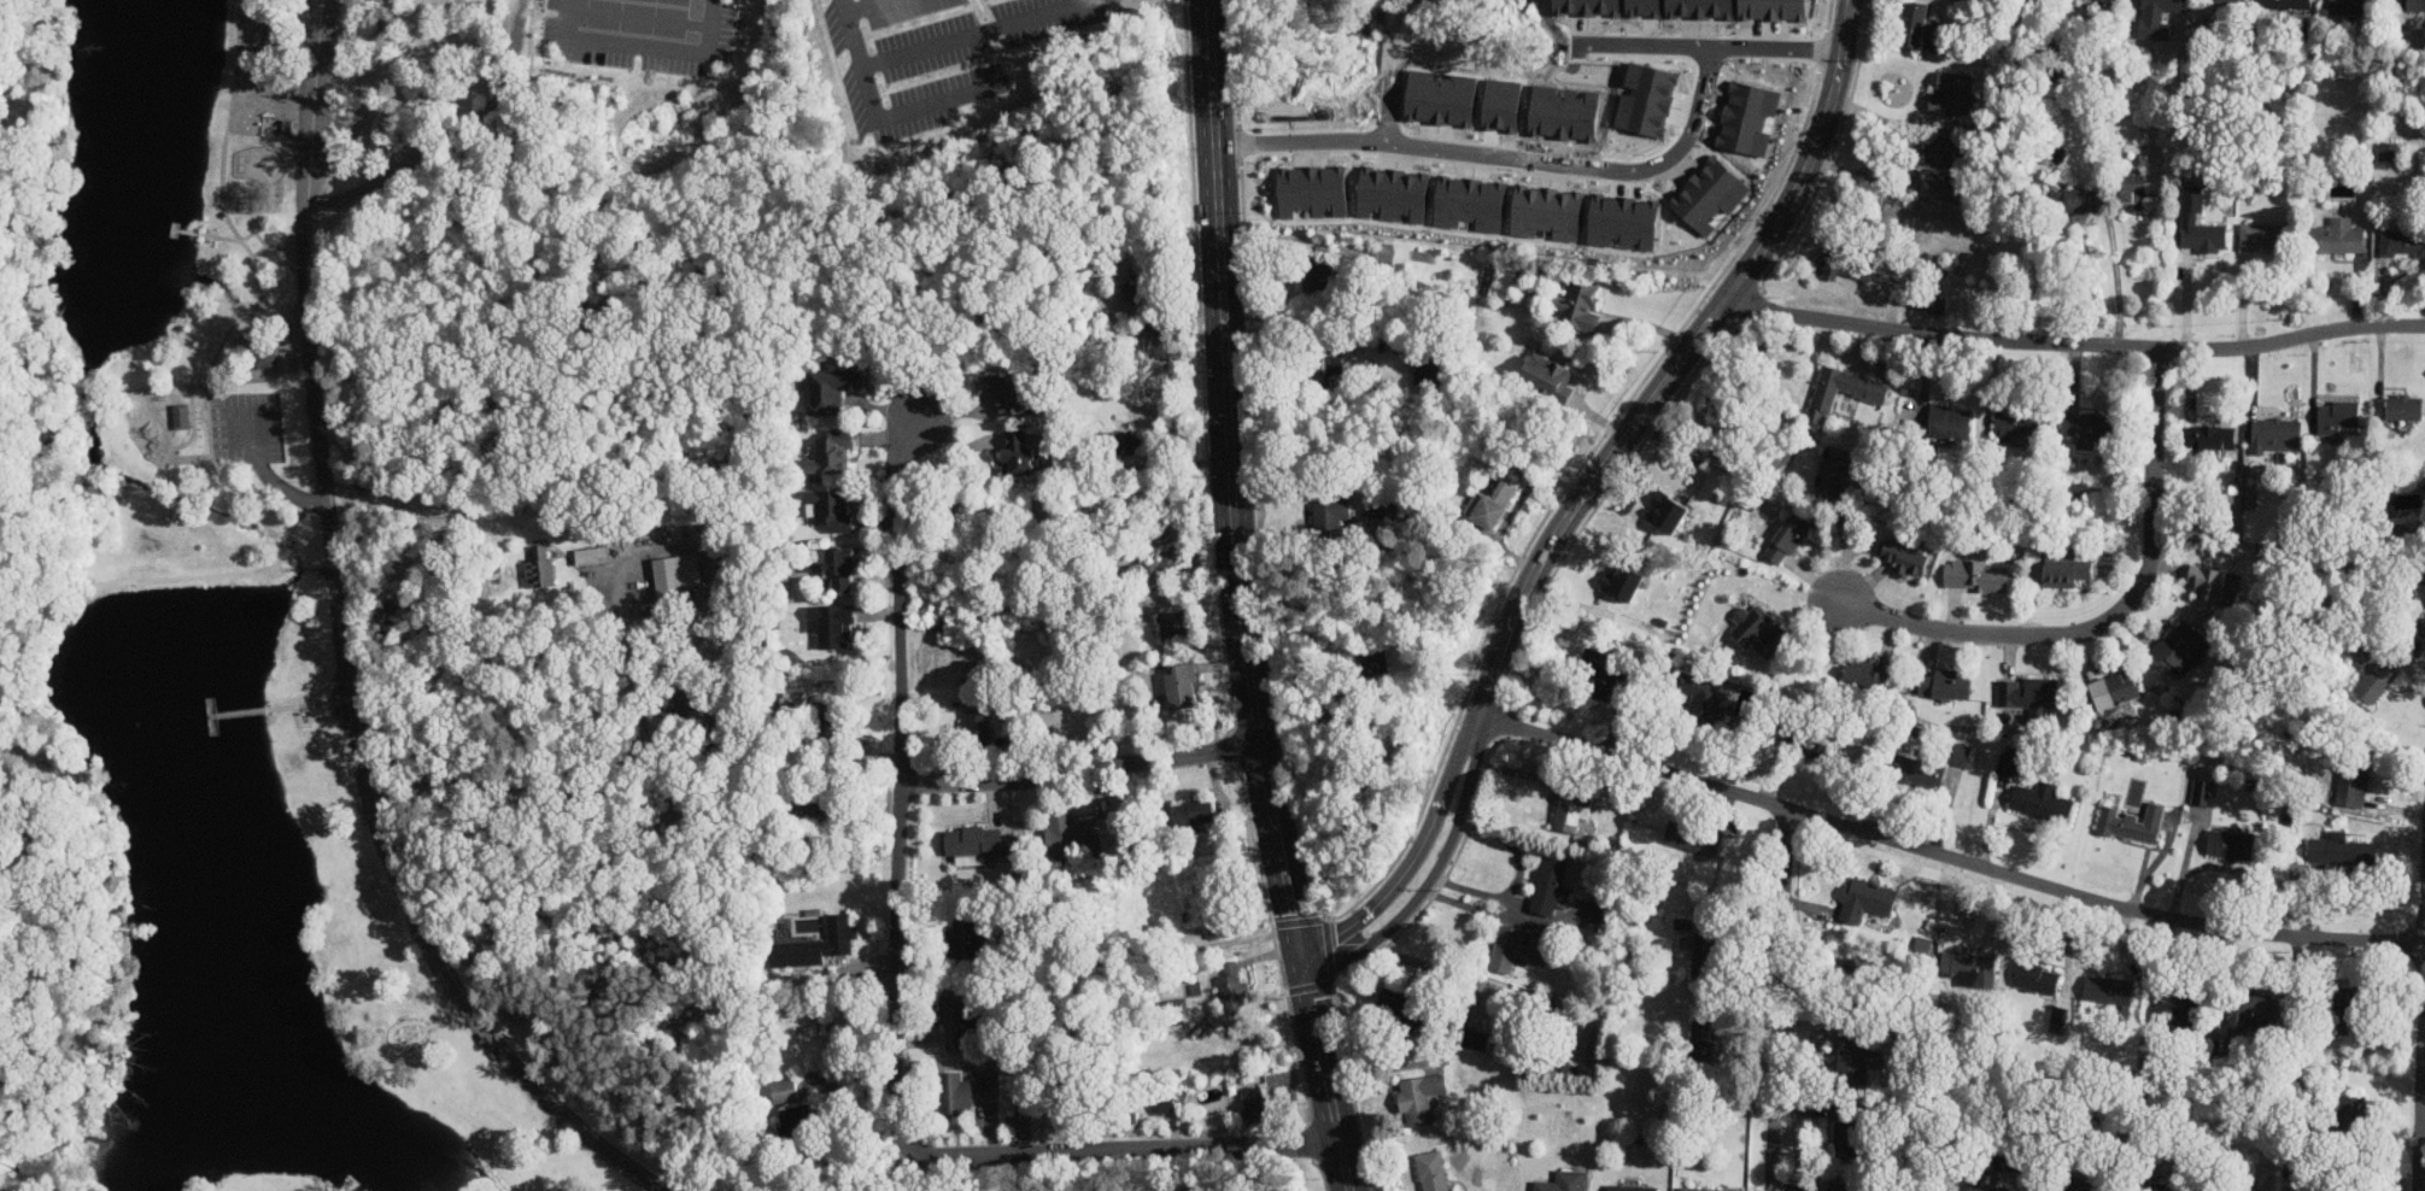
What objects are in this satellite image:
building: (2108, 2)
building: (2228, 4)
building: (2286, 5)
building: (2403, 5)
building: (2414, 6)
road: (862, 7)
building: (2351, 7)
building: (2159, 18)
road: (615, 19)
road: (663, 23)
building: (1911, 27)
road: (977, 33)
road: (645, 43)
road: (1708, 46)
road: (1390, 71)
building: (1950, 95)
building: (1436, 99)
road: (881, 116)
road: (1505, 154)
building: (2388, 157)
building: (1939, 162)
building: (2130, 189)
building: (1310, 192)
building: (1389, 193)
building: (2066, 201)
building: (1465, 204)
building: (2197, 224)
road: (172, 228)
road: (192, 231)
road: (224, 237)
building: (2260, 237)
building: (2333, 237)
road: (238, 239)
building: (2402, 242)
road: (265, 244)
road: (258, 251)
building: (1861, 269)
building: (1824, 270)
building: (1313, 276)
building: (1527, 295)
building: (1578, 306)
road: (2072, 340)
building: (259, 356)
building: (1329, 362)
building: (1427, 371)
building: (1547, 376)
road: (189, 385)
building: (833, 387)
building: (1839, 392)
building: (1004, 393)
road: (87, 395)
building: (2401, 412)
building: (1939, 415)
building: (177, 416)
building: (2335, 417)
road: (1228, 420)
road: (162, 423)
road: (189, 423)
building: (2007, 424)
building: (2081, 428)
road: (1764, 433)
building: (2273, 434)
building: (2207, 435)
building: (1121, 441)
building: (1018, 451)
building: (833, 452)
building: (1829, 469)
road: (268, 474)
road: (1588, 492)
building: (1489, 500)
building: (833, 508)
building: (1663, 512)
building: (1346, 515)
building: (1153, 527)
building: (1787, 539)
park: (449, 551)
building: (594, 555)
building: (1905, 561)
building: (543, 567)
building: (838, 567)
building: (1156, 568)
building: (2063, 569)
dam: (282, 570)
building: (1976, 574)
building: (676, 576)
building: (1617, 580)
dam: (153, 581)
building: (2208, 581)
road: (2116, 617)
building: (834, 624)
building: (1173, 624)
building: (1763, 633)
building: (2418, 641)
building: (2178, 645)
road: (341, 651)
building: (1370, 664)
building: (1868, 670)
building: (1599, 673)
building: (2374, 674)
building: (1182, 685)
building: (1945, 685)
building: (2114, 688)
building: (2028, 692)
building: (1708, 697)
building: (692, 710)
building: (977, 723)
building: (827, 724)
building: (1812, 737)
building: (1960, 753)
building: (2008, 764)
road: (1082, 770)
building: (1917, 770)
building: (2357, 782)
building: (2202, 791)
road: (588, 792)
building: (2040, 802)
building: (1572, 810)
building: (1193, 812)
building: (2132, 822)
building: (1070, 832)
building: (1693, 837)
building: (971, 841)
building: (2230, 844)
building: (2343, 851)
road: (1947, 856)
building: (1548, 885)
road: (1290, 896)
building: (1865, 899)
building: (1600, 910)
building: (1216, 920)
building: (965, 938)
building: (815, 944)
building: (1518, 949)
traffic signals: (1302, 954)
building: (1706, 955)
building: (1968, 964)
building: (1858, 969)
building: (2033, 976)
building: (1231, 986)
building: (2109, 988)
road: (1775, 999)
road: (895, 1001)
building: (2347, 1002)
building: (1399, 1004)
building: (2179, 1004)
building: (2254, 1014)
building: (954, 1021)
building: (1475, 1038)
building: (1703, 1042)
building: (1852, 1057)
building: (1041, 1066)
road: (1326, 1072)
road: (2420, 1081)
building: (784, 1089)
building: (955, 1093)
building: (1421, 1097)
building: (1253, 1104)
building: (1160, 1105)
building: (2356, 1121)
building: (801, 1122)
building: (1849, 1136)
building: (1431, 1171)
building: (1563, 1181)
building: (1984, 1185)
building: (1845, 1186)
building: (2072, 1186)
building: (2154, 1186)
building: (1633, 1187)
building: (1705, 1189)

